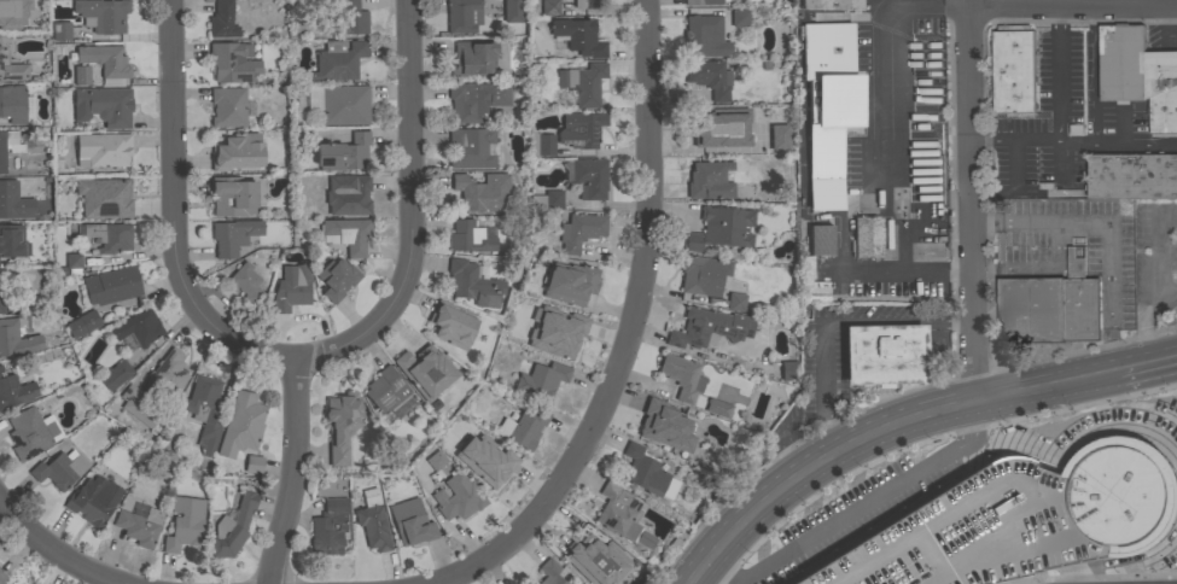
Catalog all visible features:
road: (1071, 1)
building: (701, 2)
building: (588, 4)
building: (831, 5)
road: (925, 5)
building: (549, 7)
building: (513, 11)
building: (13, 14)
building: (100, 14)
building: (462, 16)
building: (348, 18)
building: (739, 18)
building: (818, 18)
building: (221, 21)
building: (60, 31)
building: (578, 36)
building: (704, 36)
building: (853, 45)
building: (818, 49)
building: (472, 59)
building: (104, 60)
building: (337, 62)
building: (232, 63)
building: (1132, 65)
building: (11, 69)
building: (1013, 69)
road: (1059, 70)
road: (1095, 72)
building: (81, 75)
building: (709, 78)
building: (582, 83)
building: (851, 90)
building: (991, 93)
building: (473, 100)
building: (12, 104)
building: (344, 105)
building: (103, 106)
building: (227, 106)
building: (1164, 112)
building: (712, 128)
building: (579, 129)
building: (782, 138)
road: (969, 138)
road: (1073, 141)
building: (541, 145)
building: (8, 146)
building: (470, 148)
building: (101, 150)
building: (237, 152)
building: (342, 154)
road: (886, 154)
building: (63, 168)
building: (817, 168)
building: (1131, 175)
building: (587, 177)
building: (709, 181)
building: (480, 192)
building: (346, 194)
building: (232, 197)
building: (548, 199)
building: (106, 200)
building: (13, 202)
road: (171, 212)
road: (412, 212)
building: (721, 229)
building: (579, 232)
building: (345, 234)
building: (109, 236)
building: (233, 236)
building: (471, 236)
building: (867, 238)
building: (11, 241)
building: (70, 265)
building: (805, 267)
building: (703, 275)
road: (917, 276)
building: (336, 279)
building: (474, 282)
building: (245, 284)
building: (569, 284)
building: (111, 286)
building: (292, 290)
building: (1, 292)
building: (735, 302)
building: (1049, 306)
building: (82, 323)
building: (451, 325)
building: (138, 328)
building: (565, 328)
building: (709, 328)
road: (631, 333)
building: (16, 338)
building: (519, 338)
road: (974, 338)
building: (884, 355)
road: (1163, 357)
building: (788, 370)
building: (425, 372)
building: (115, 375)
building: (681, 376)
building: (541, 380)
building: (153, 389)
building: (386, 390)
building: (14, 391)
building: (717, 408)
building: (204, 413)
building: (342, 424)
building: (240, 425)
road: (892, 425)
building: (664, 426)
building: (523, 428)
building: (28, 433)
building: (436, 460)
building: (252, 465)
building: (491, 467)
building: (59, 469)
road: (290, 471)
building: (646, 473)
building: (458, 497)
building: (93, 500)
building: (622, 515)
building: (1018, 521)
building: (372, 522)
building: (410, 522)
building: (183, 524)
building: (232, 525)
building: (139, 526)
building: (328, 527)
building: (677, 541)
road: (52, 551)
building: (595, 560)
building: (549, 573)
building: (1, 577)

